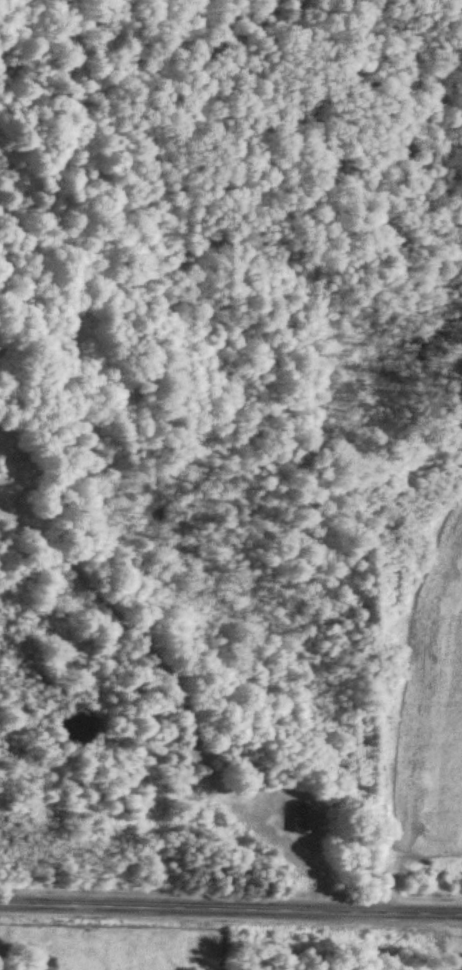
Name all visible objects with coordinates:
building: (303, 819)
road: (231, 909)

